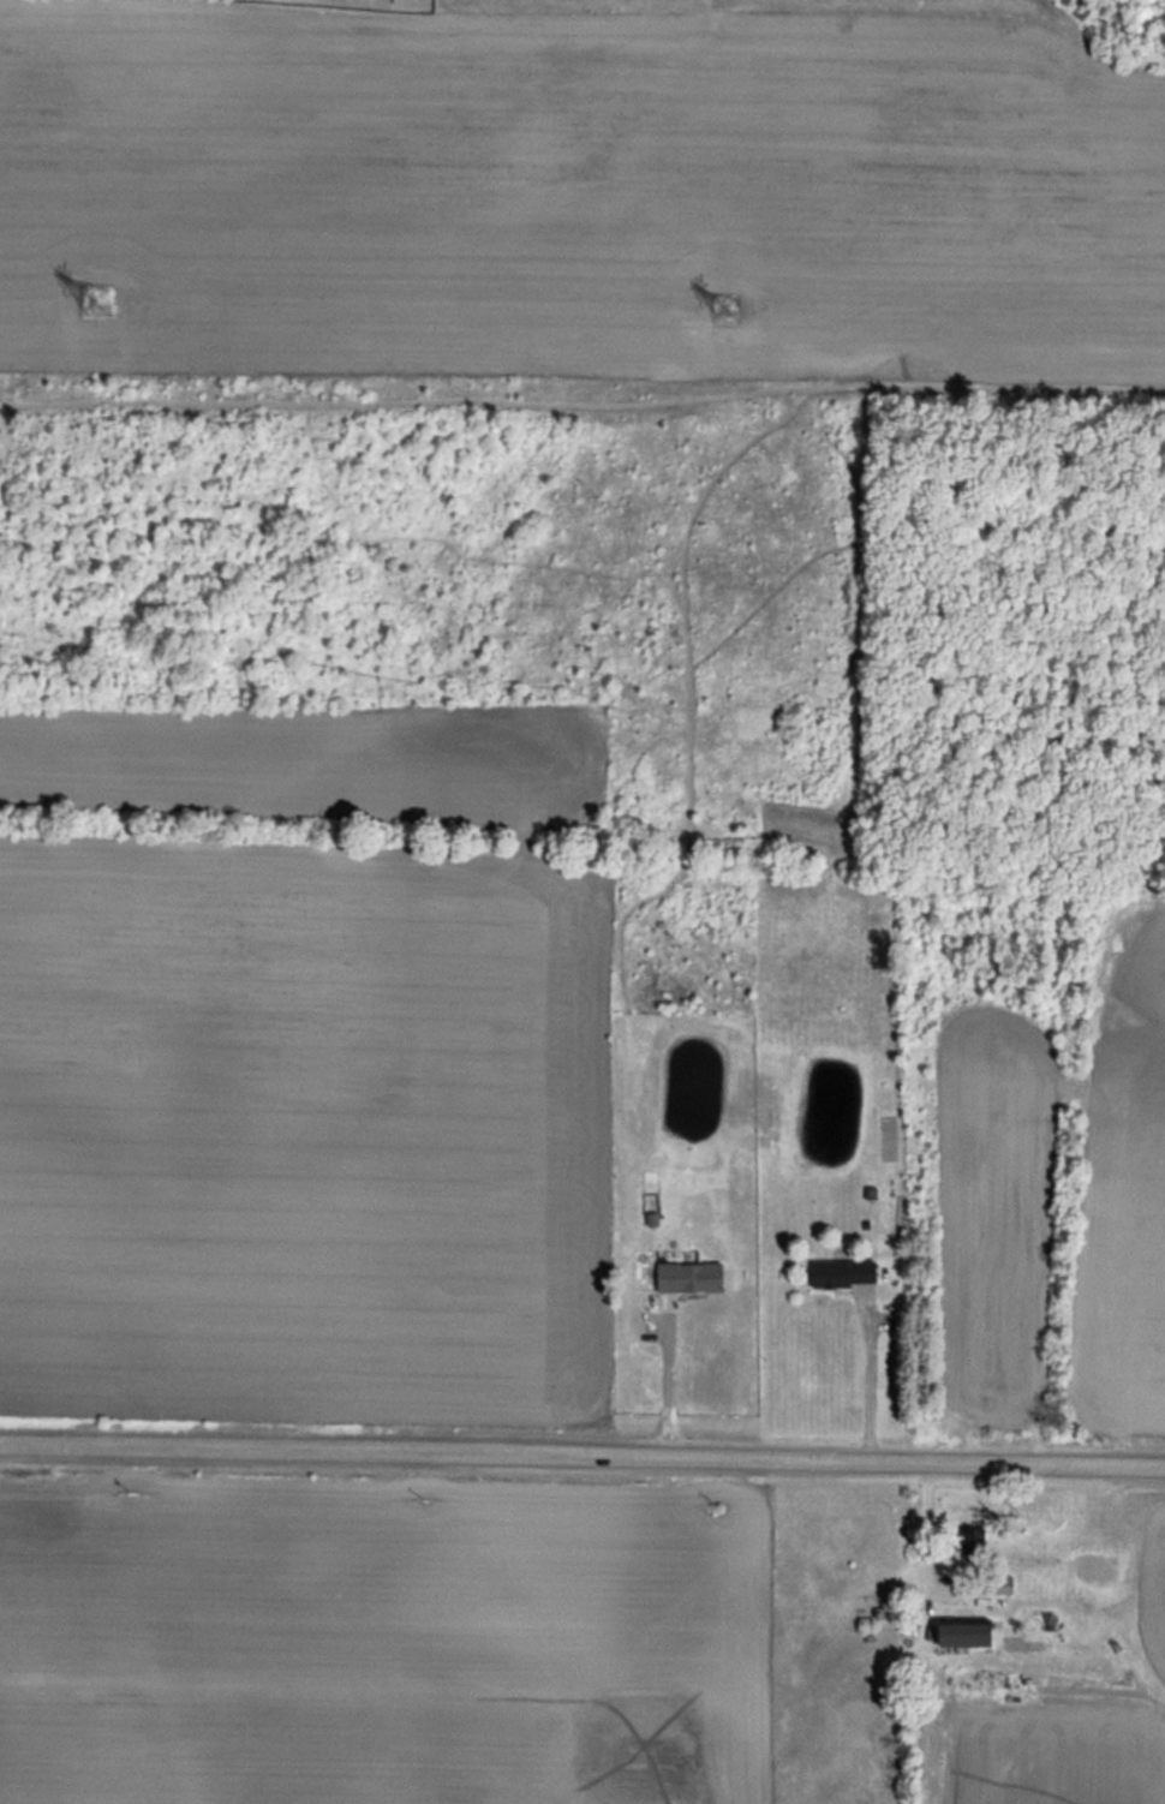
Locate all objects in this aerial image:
power tower: (96, 300)
power tower: (724, 306)
building: (842, 1272)
building: (688, 1277)
road: (665, 1380)
road: (868, 1382)
road: (581, 1454)
road: (924, 1527)
building: (972, 1537)
building: (964, 1633)

